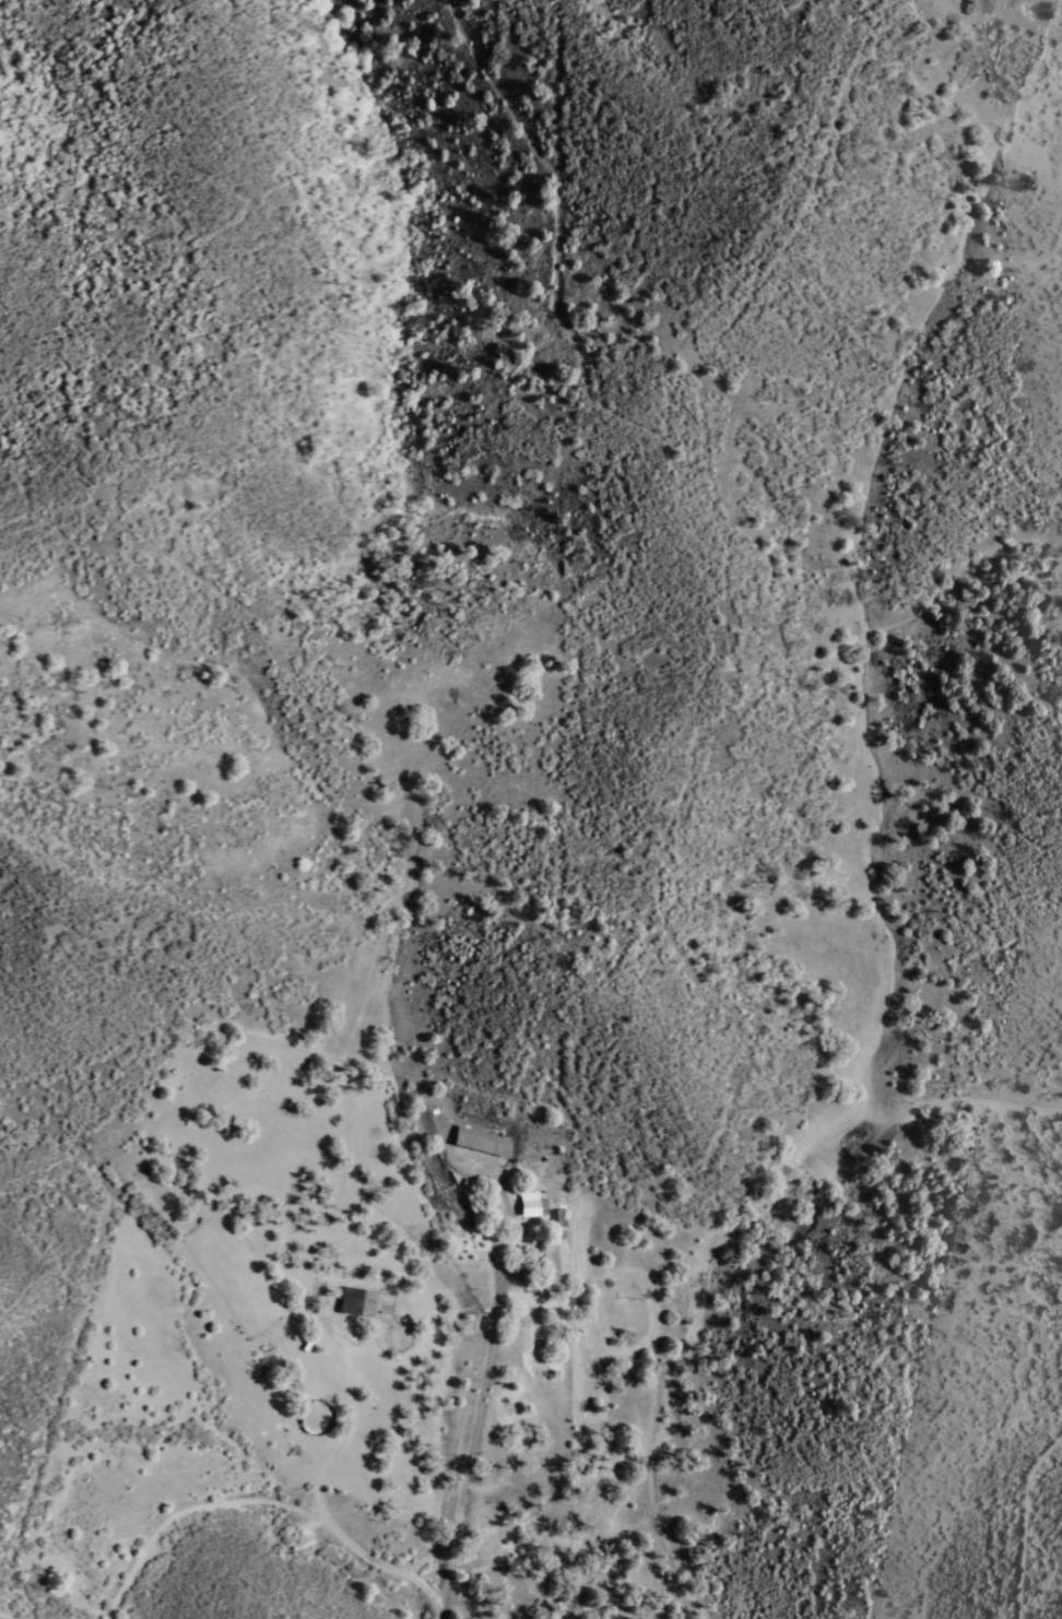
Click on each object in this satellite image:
building: (483, 1143)
building: (533, 1206)
building: (355, 1304)

